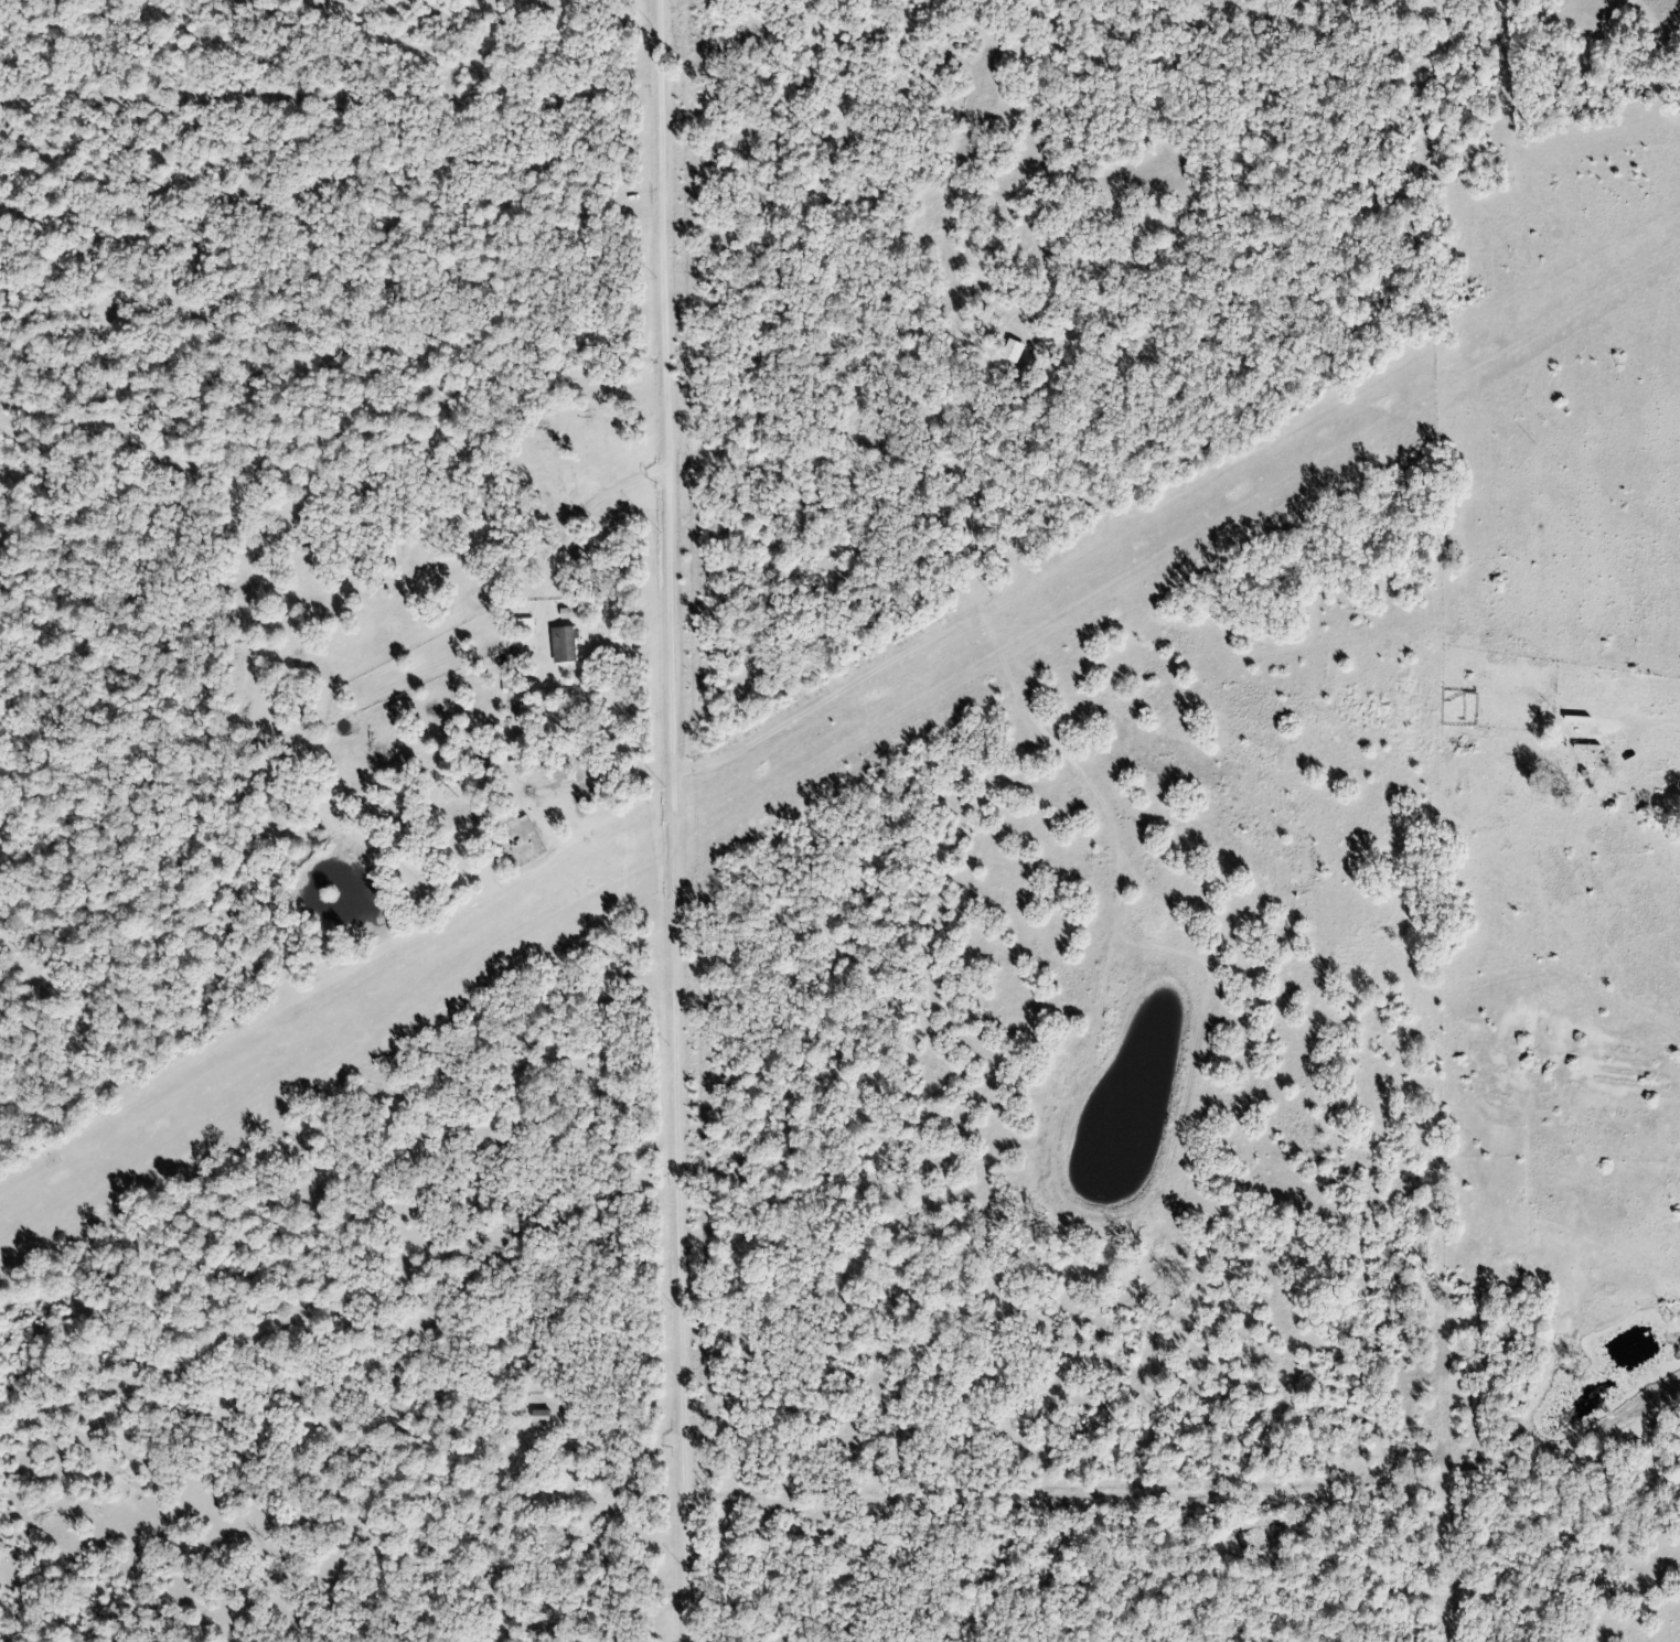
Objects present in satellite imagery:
building: (547, 7)
building: (1010, 350)
building: (578, 557)
building: (563, 644)
road: (1671, 669)
building: (1581, 758)
building: (538, 1420)

